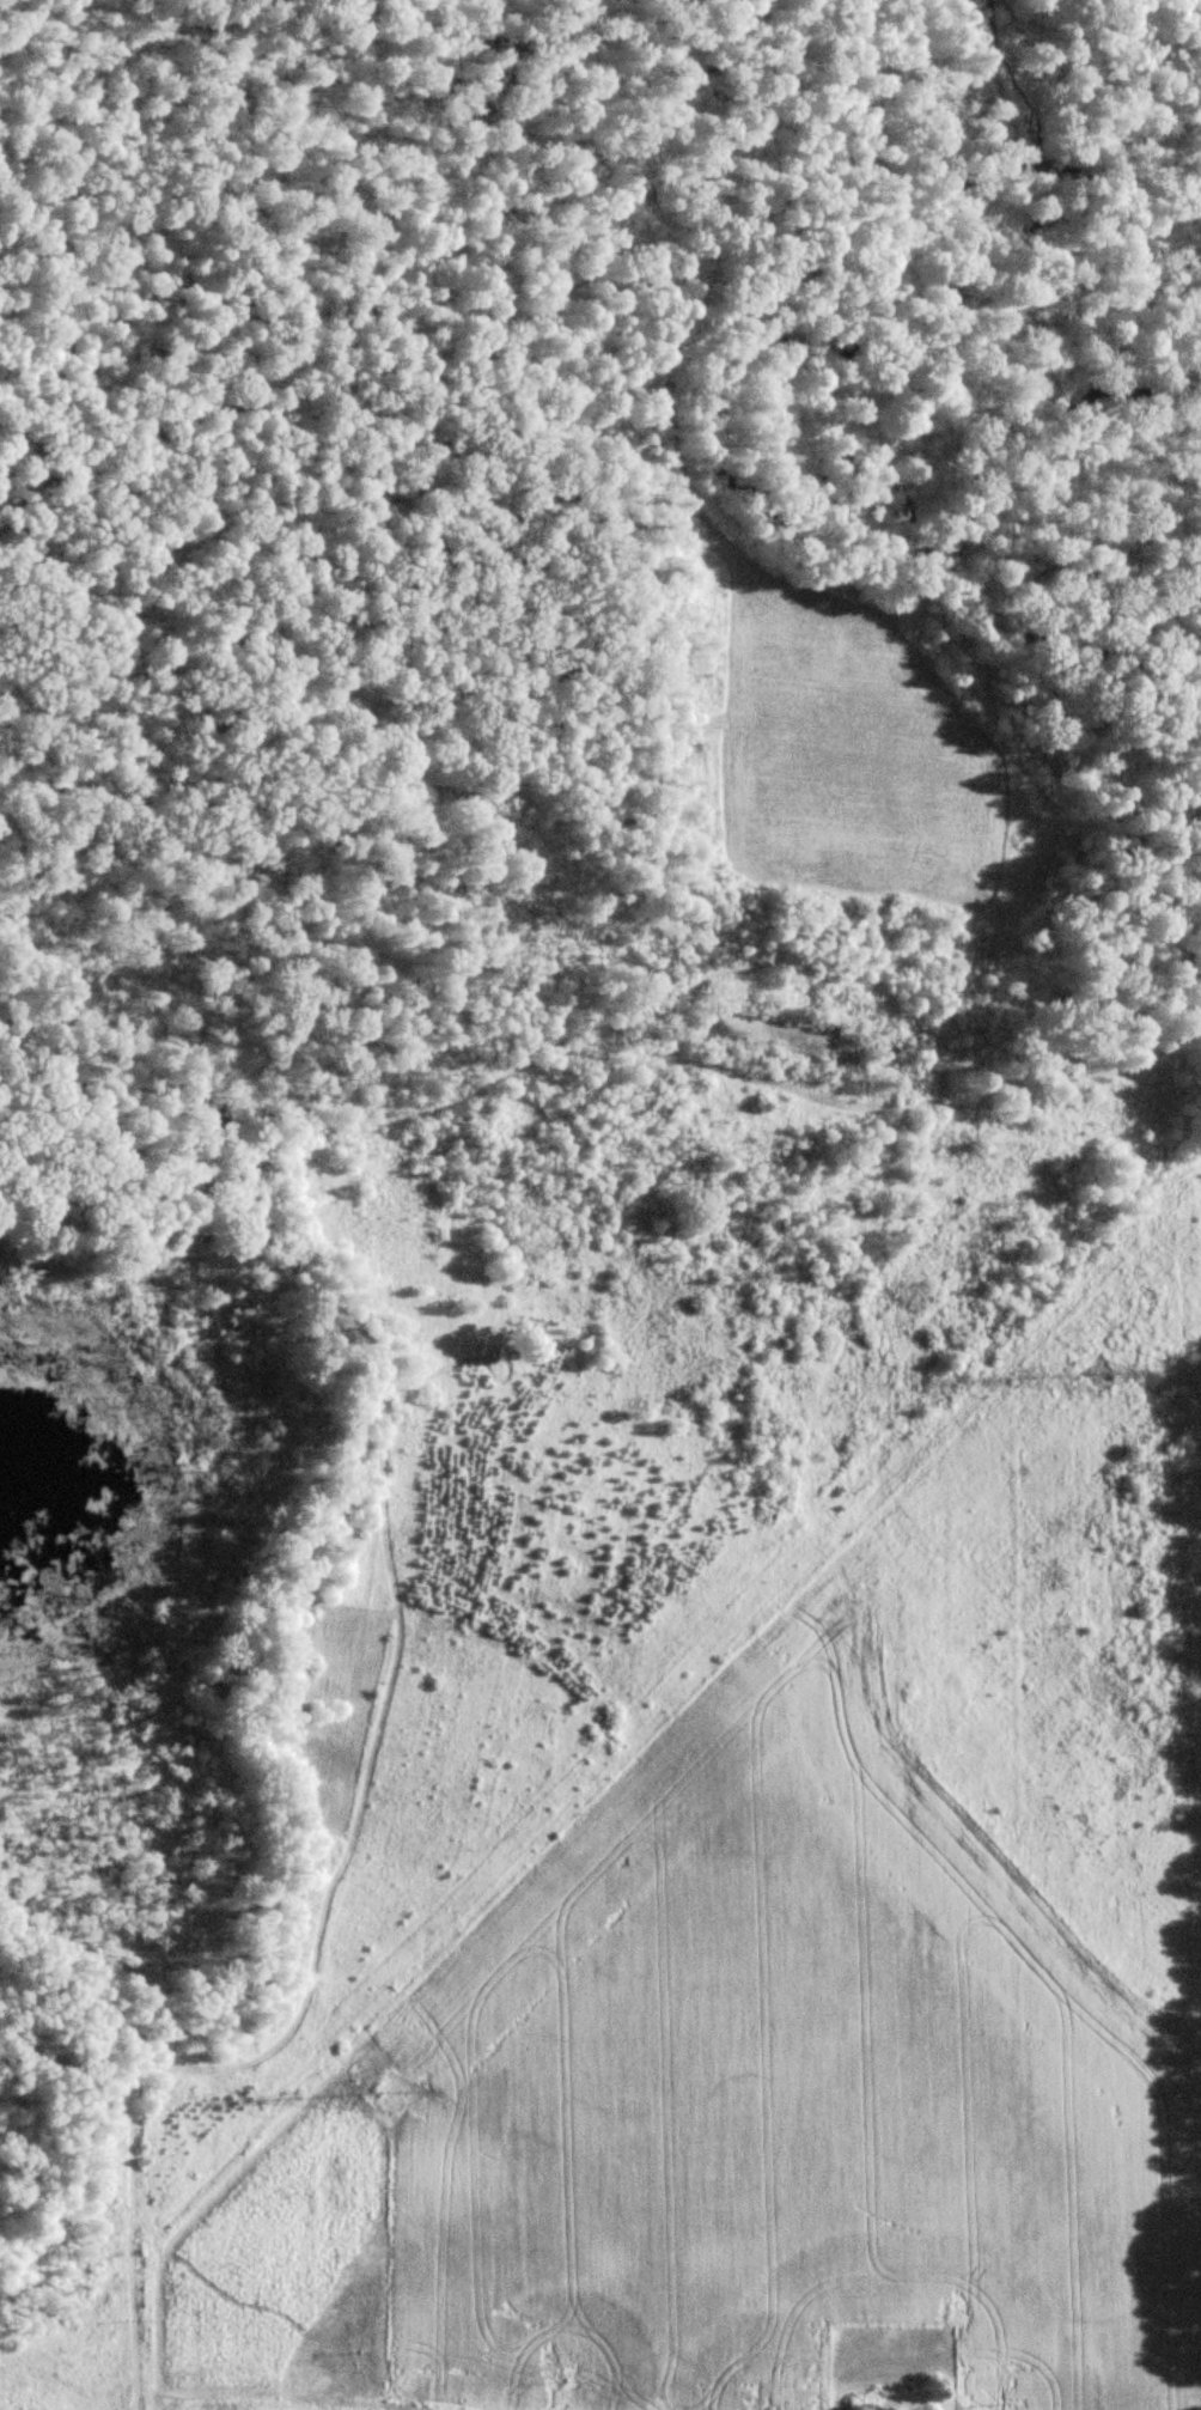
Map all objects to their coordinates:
power tower: (1098, 1379)
power tower: (398, 2098)

